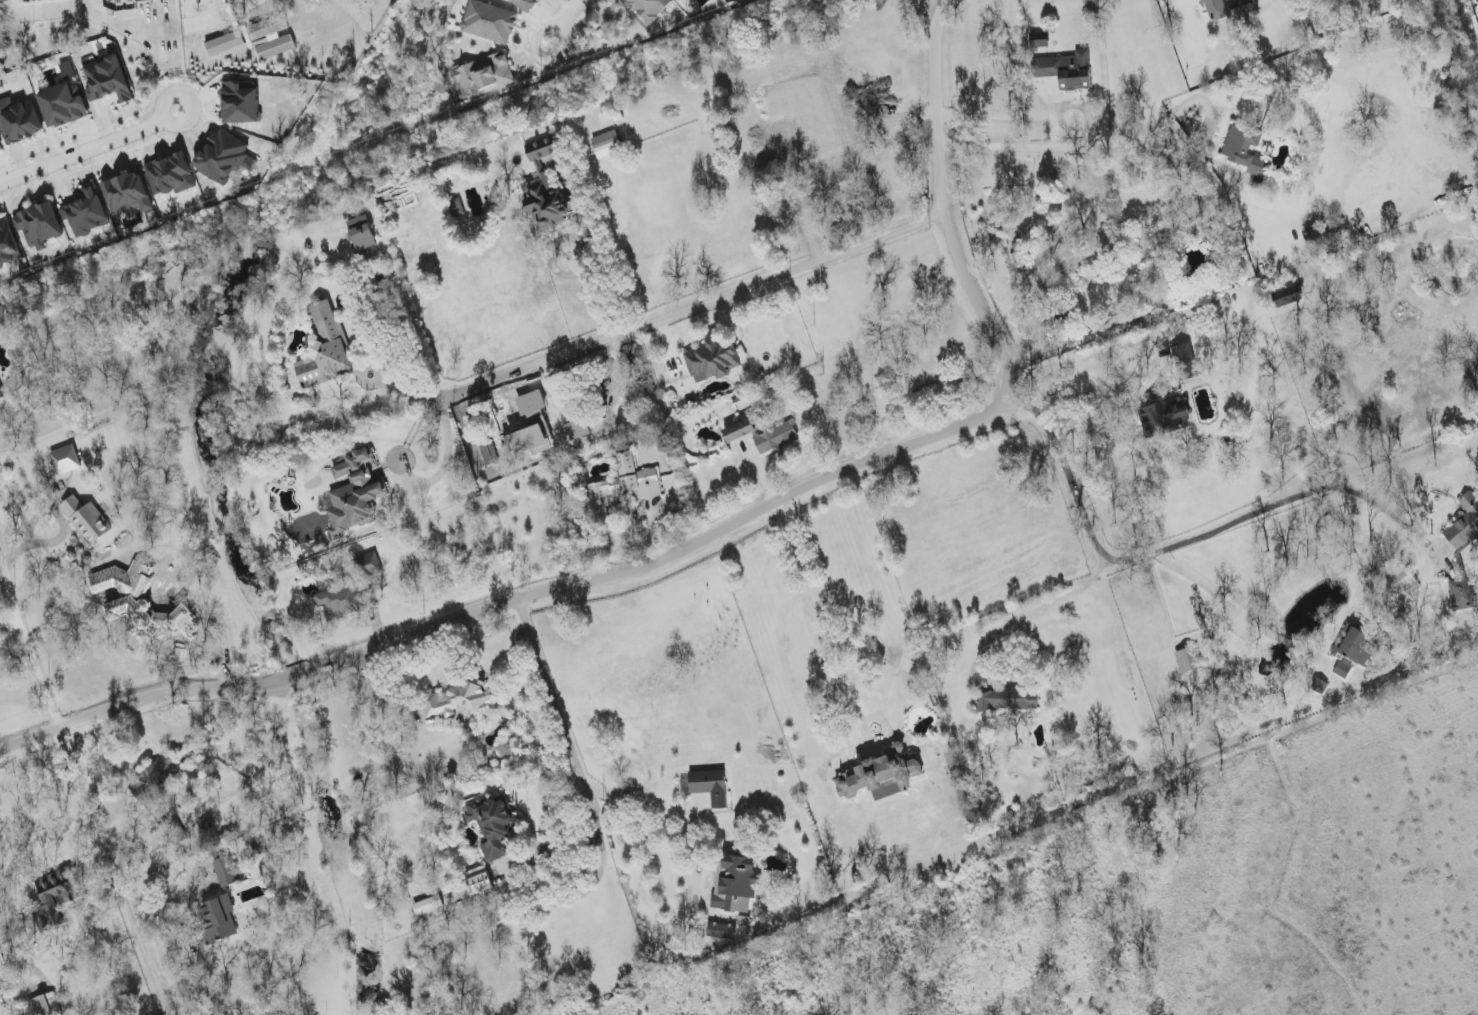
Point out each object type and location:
building: (526, 5)
building: (650, 8)
building: (1215, 10)
road: (44, 12)
road: (569, 20)
building: (490, 22)
road: (167, 28)
building: (1065, 70)
building: (485, 75)
building: (101, 78)
building: (63, 97)
building: (242, 97)
road: (1071, 104)
building: (20, 120)
building: (607, 145)
building: (2, 146)
road: (1070, 147)
road: (88, 148)
building: (543, 149)
building: (1245, 150)
building: (222, 157)
street lamp: (46, 166)
building: (173, 185)
building: (129, 198)
building: (545, 204)
building: (88, 216)
building: (1077, 217)
building: (43, 234)
building: (1056, 236)
building: (364, 237)
building: (8, 244)
building: (1288, 296)
road: (696, 306)
building: (326, 348)
building: (711, 361)
road: (1134, 365)
road: (383, 381)
building: (0, 396)
building: (1164, 418)
building: (532, 427)
building: (740, 430)
building: (776, 438)
building: (66, 460)
road: (444, 465)
road: (1070, 470)
building: (623, 487)
building: (353, 493)
road: (1378, 509)
building: (87, 520)
building: (1465, 525)
road: (709, 535)
road: (1131, 554)
building: (370, 565)
building: (1463, 594)
building: (341, 601)
road: (1235, 610)
road: (817, 616)
building: (1354, 646)
building: (1185, 661)
building: (1007, 700)
building: (458, 701)
road: (559, 718)
building: (882, 775)
building: (157, 777)
road: (80, 780)
building: (710, 786)
building: (493, 825)
road: (645, 829)
road: (27, 836)
road: (342, 845)
building: (230, 871)
building: (476, 882)
building: (736, 885)
building: (54, 900)
building: (428, 906)
building: (218, 919)
building: (722, 933)
building: (45, 1005)

